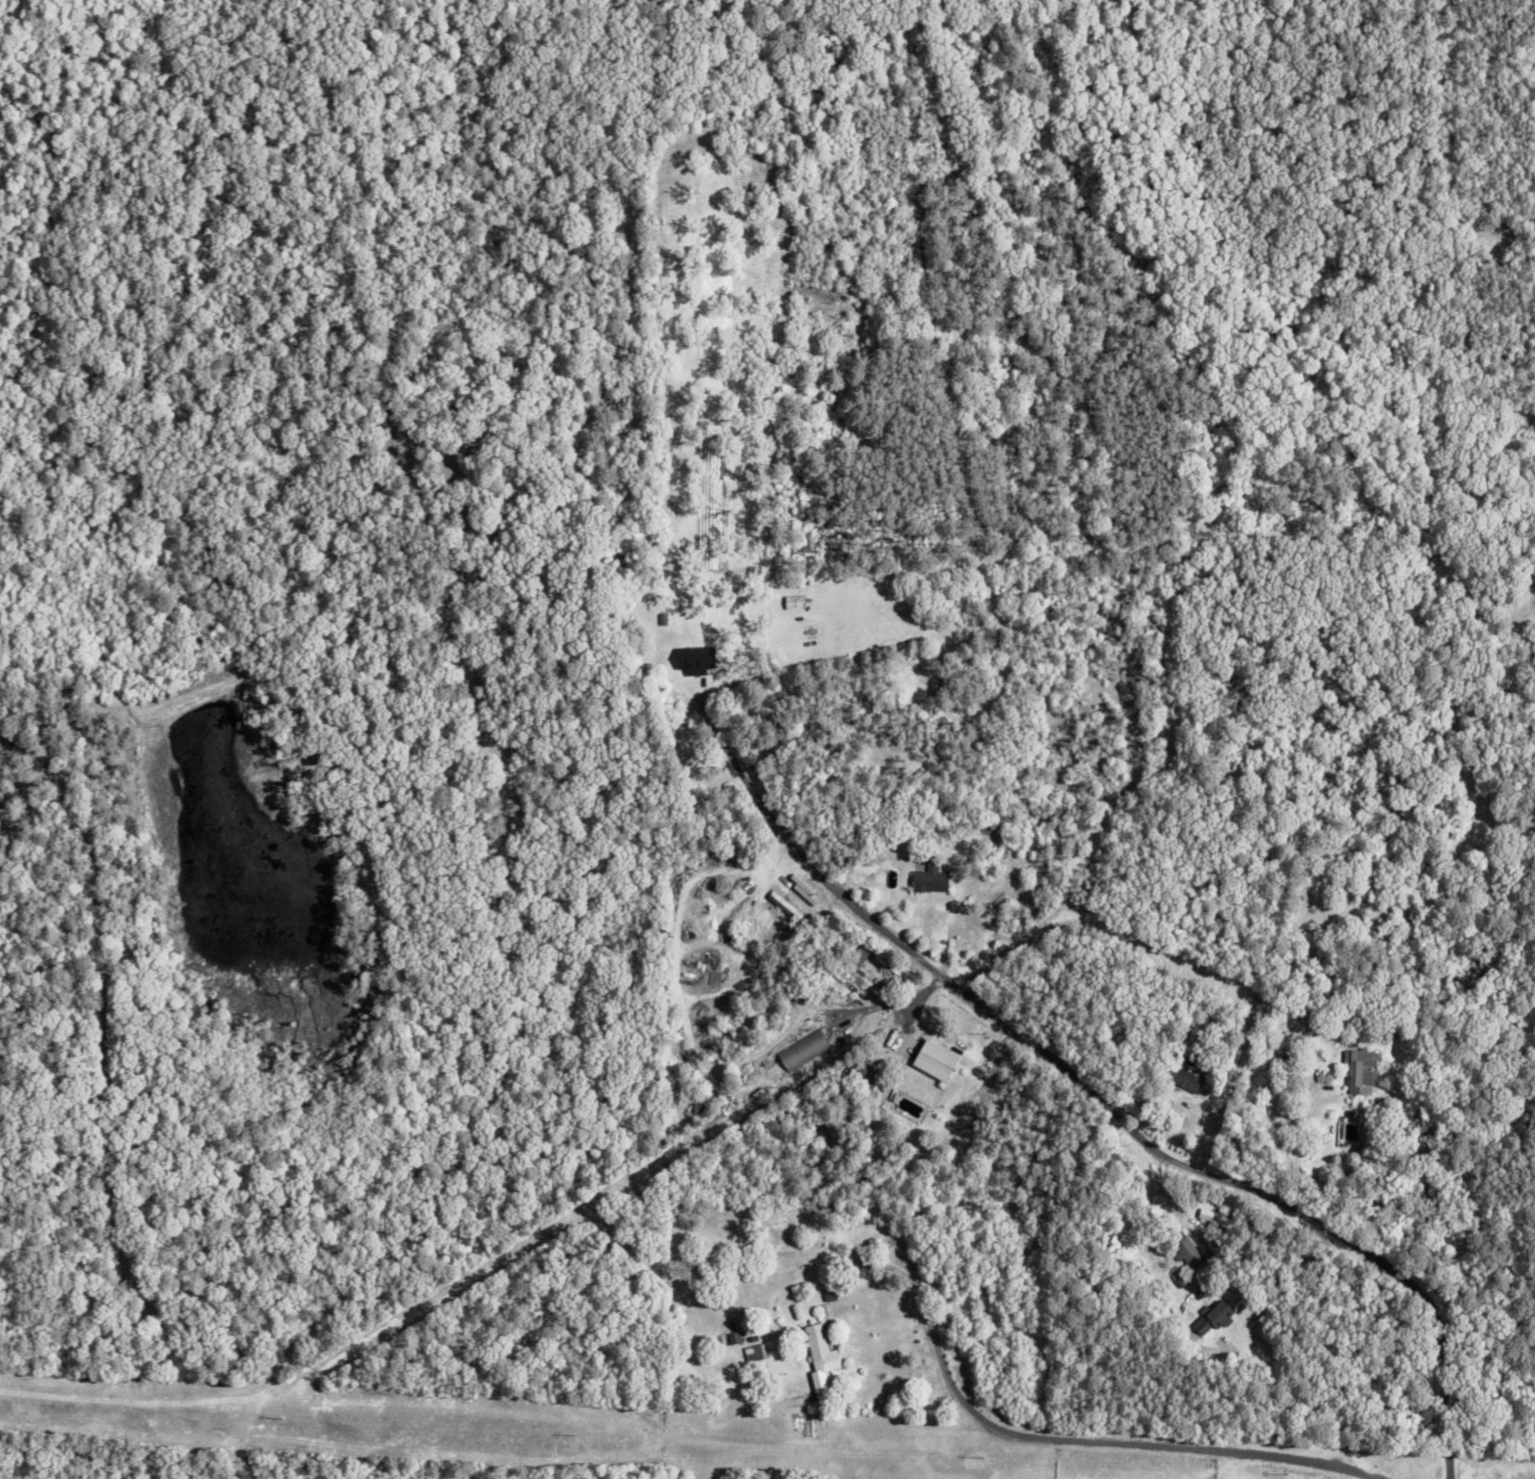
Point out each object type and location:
building: (795, 602)
building: (696, 659)
building: (930, 879)
building: (804, 1050)
building: (936, 1061)
building: (1362, 1071)
road: (1121, 1103)
building: (1215, 1218)
road: (837, 1233)
building: (1187, 1253)
building: (1214, 1318)
building: (756, 1353)
building: (821, 1359)
road: (1302, 1401)
road: (1099, 1439)

